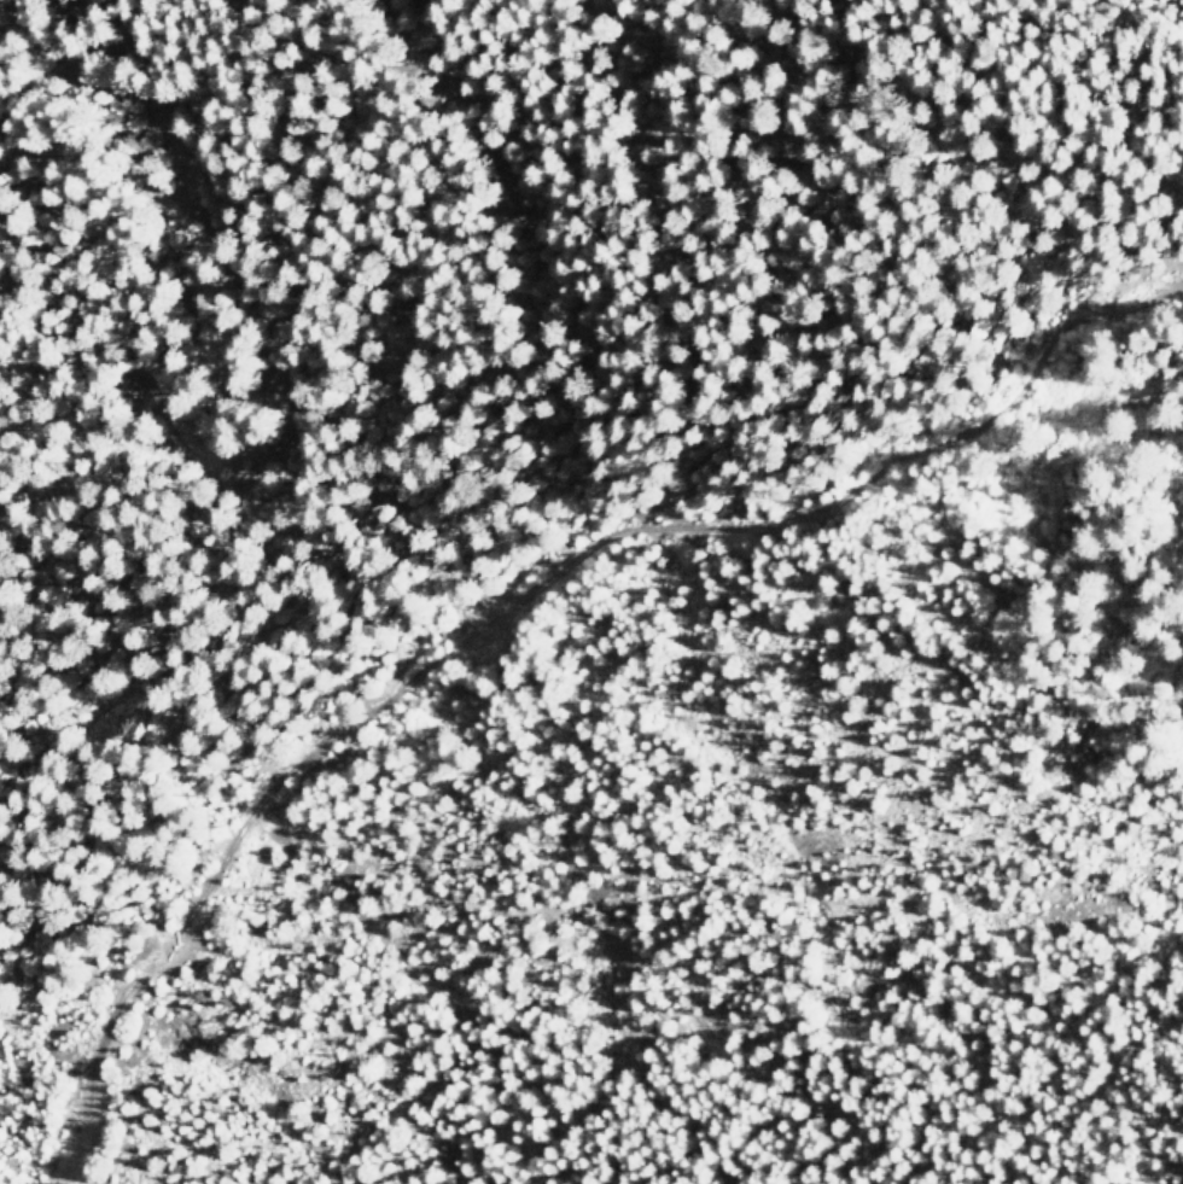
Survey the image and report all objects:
road: (519, 603)

